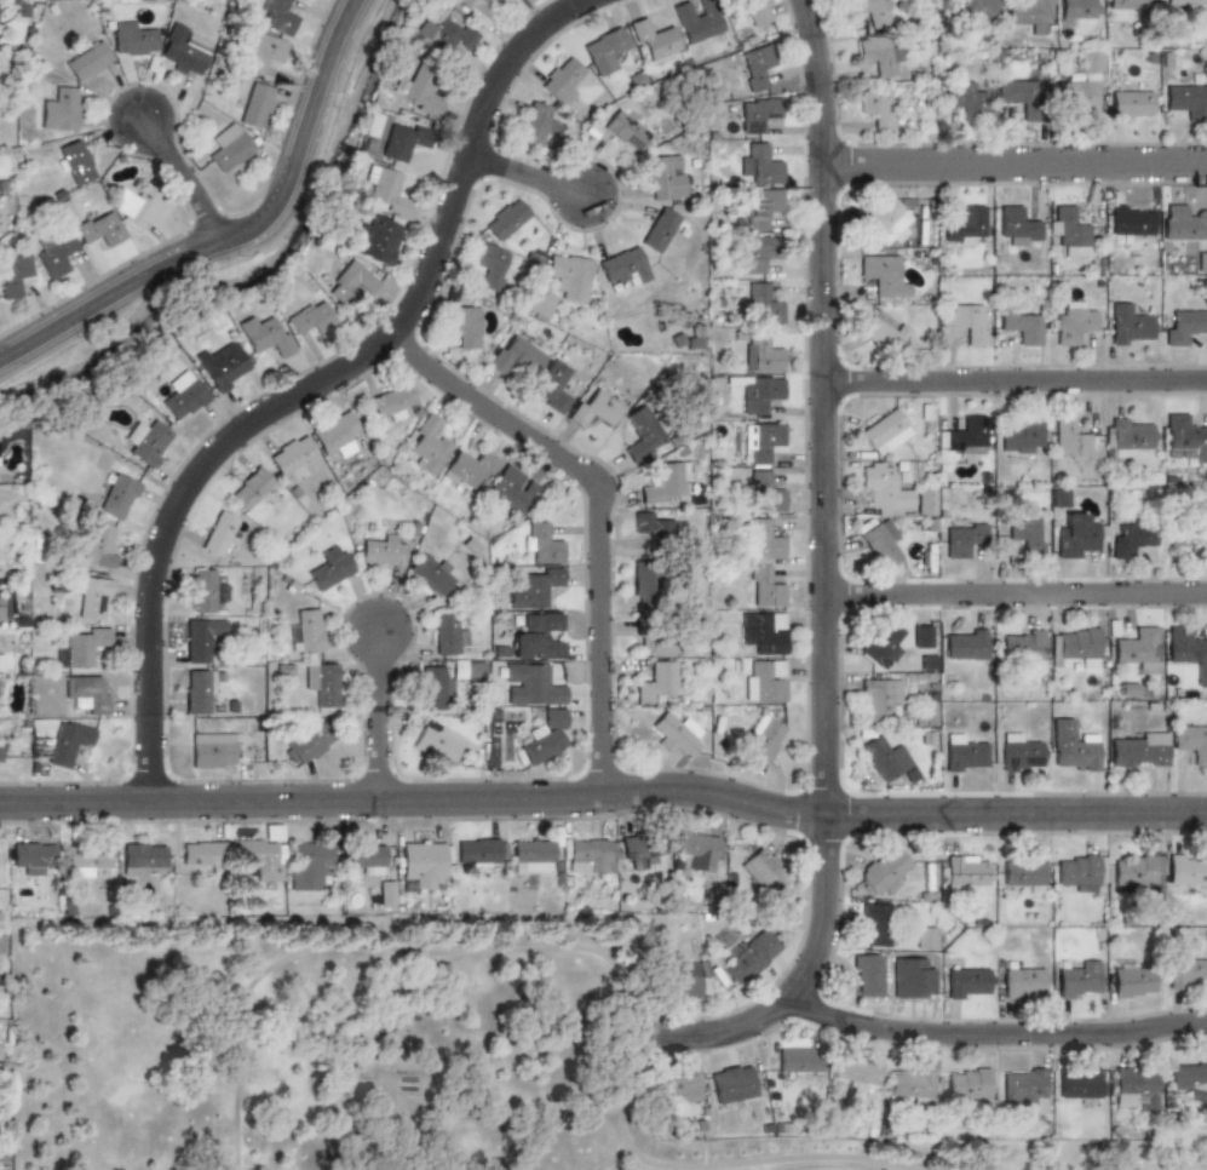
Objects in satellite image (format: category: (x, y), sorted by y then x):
building: (1184, 2)
building: (1127, 4)
building: (975, 7)
building: (1077, 8)
building: (472, 10)
building: (757, 11)
building: (872, 11)
building: (1029, 15)
building: (277, 16)
building: (695, 23)
building: (443, 35)
building: (132, 39)
building: (654, 39)
building: (264, 47)
building: (604, 51)
building: (878, 56)
building: (183, 57)
building: (87, 61)
building: (754, 67)
building: (561, 80)
building: (1079, 84)
building: (1019, 93)
building: (420, 94)
building: (962, 98)
building: (1186, 99)
building: (255, 105)
building: (1130, 105)
building: (876, 108)
building: (61, 110)
building: (757, 114)
building: (534, 124)
building: (625, 131)
building: (393, 143)
building: (229, 148)
road: (1013, 157)
building: (74, 161)
building: (759, 164)
road: (525, 176)
building: (663, 176)
road: (185, 177)
building: (384, 189)
building: (134, 206)
building: (761, 207)
building: (505, 219)
building: (1130, 219)
building: (1182, 222)
building: (883, 223)
building: (965, 225)
building: (1016, 225)
building: (100, 229)
building: (657, 230)
building: (1068, 230)
road: (238, 231)
building: (378, 239)
building: (54, 251)
building: (758, 253)
building: (492, 266)
building: (622, 266)
building: (15, 274)
building: (883, 274)
building: (559, 285)
building: (350, 286)
building: (764, 303)
building: (310, 319)
building: (965, 321)
building: (1019, 322)
building: (1073, 322)
building: (1127, 325)
building: (1180, 326)
building: (465, 327)
building: (883, 333)
building: (261, 335)
building: (690, 339)
building: (763, 352)
building: (515, 355)
building: (220, 366)
road: (1015, 379)
road: (317, 385)
building: (551, 385)
building: (757, 391)
building: (182, 396)
building: (389, 401)
road: (822, 407)
building: (593, 408)
building: (335, 431)
building: (885, 431)
building: (1127, 434)
building: (966, 435)
building: (640, 436)
building: (1022, 436)
building: (1068, 440)
building: (1184, 440)
building: (148, 442)
building: (761, 442)
building: (426, 445)
building: (292, 458)
building: (469, 468)
building: (666, 482)
building: (253, 489)
building: (885, 489)
building: (510, 491)
building: (764, 492)
building: (117, 497)
building: (1057, 497)
building: (925, 503)
road: (597, 512)
building: (650, 528)
building: (1022, 532)
building: (217, 533)
building: (1183, 535)
building: (1075, 537)
building: (1127, 538)
building: (763, 539)
building: (961, 539)
building: (541, 543)
building: (880, 543)
building: (379, 549)
building: (97, 552)
building: (326, 567)
building: (427, 573)
building: (651, 584)
building: (761, 586)
building: (530, 587)
building: (202, 590)
road: (1013, 591)
building: (218, 593)
building: (93, 598)
building: (0, 610)
building: (305, 630)
building: (763, 631)
building: (444, 633)
building: (921, 636)
building: (535, 637)
building: (196, 640)
building: (656, 641)
building: (965, 643)
building: (883, 644)
building: (1022, 644)
building: (1075, 644)
building: (1180, 646)
building: (80, 648)
building: (1136, 648)
building: (0, 661)
building: (464, 670)
building: (653, 681)
building: (763, 681)
building: (318, 683)
building: (528, 684)
building: (431, 687)
building: (197, 690)
building: (87, 693)
building: (878, 698)
road: (377, 713)
building: (672, 734)
building: (542, 736)
building: (759, 741)
building: (1190, 741)
building: (67, 744)
building: (305, 744)
building: (435, 744)
building: (1073, 746)
building: (1137, 749)
building: (0, 750)
building: (213, 751)
building: (964, 753)
building: (1019, 753)
building: (885, 757)
road: (604, 791)
building: (638, 849)
building: (695, 851)
building: (202, 853)
building: (475, 853)
building: (143, 855)
building: (530, 855)
building: (588, 855)
building: (28, 858)
building: (362, 858)
building: (84, 859)
building: (257, 861)
building: (420, 861)
building: (308, 864)
building: (1079, 868)
building: (884, 870)
building: (1188, 870)
building: (763, 871)
building: (966, 871)
building: (1136, 871)
building: (1023, 872)
building: (384, 895)
building: (874, 924)
building: (925, 937)
road: (427, 948)
building: (748, 957)
building: (867, 974)
building: (1186, 974)
road: (801, 979)
building: (1130, 979)
building: (1079, 980)
building: (680, 981)
building: (966, 982)
building: (1022, 982)
road: (993, 1032)
park: (385, 1053)
building: (799, 1061)
building: (857, 1072)
building: (1189, 1077)
building: (910, 1083)
building: (1079, 1083)
building: (732, 1084)
building: (967, 1084)
building: (678, 1088)
building: (1133, 1088)
building: (1024, 1089)
road: (194, 1142)
road: (774, 1159)
road: (611, 1160)
park: (824, 1169)

